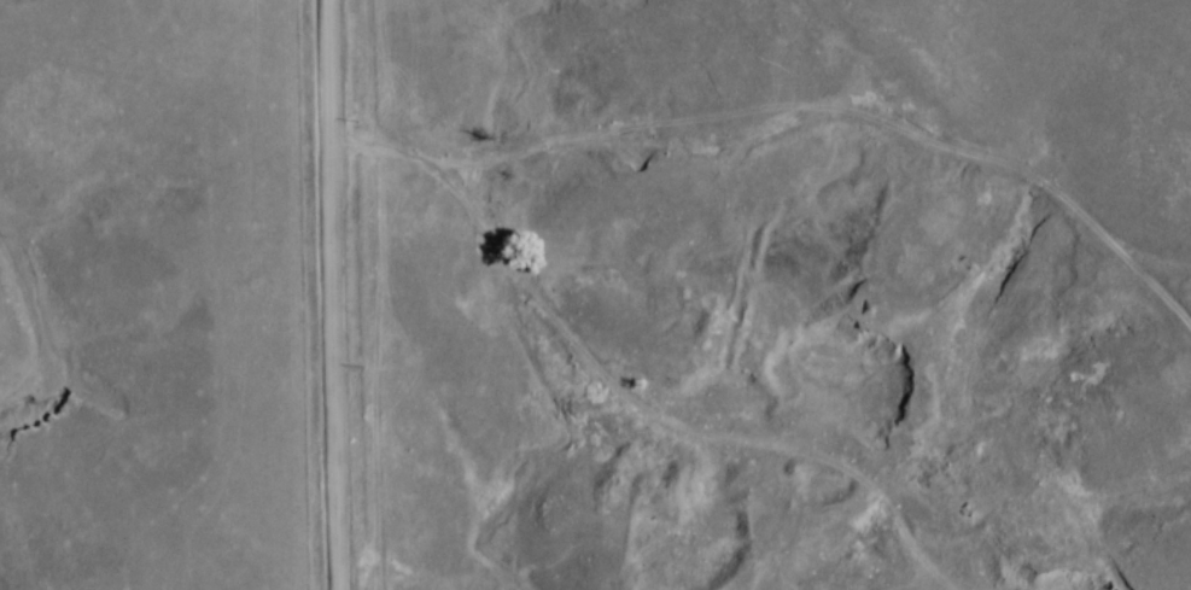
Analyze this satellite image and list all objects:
road: (328, 294)

